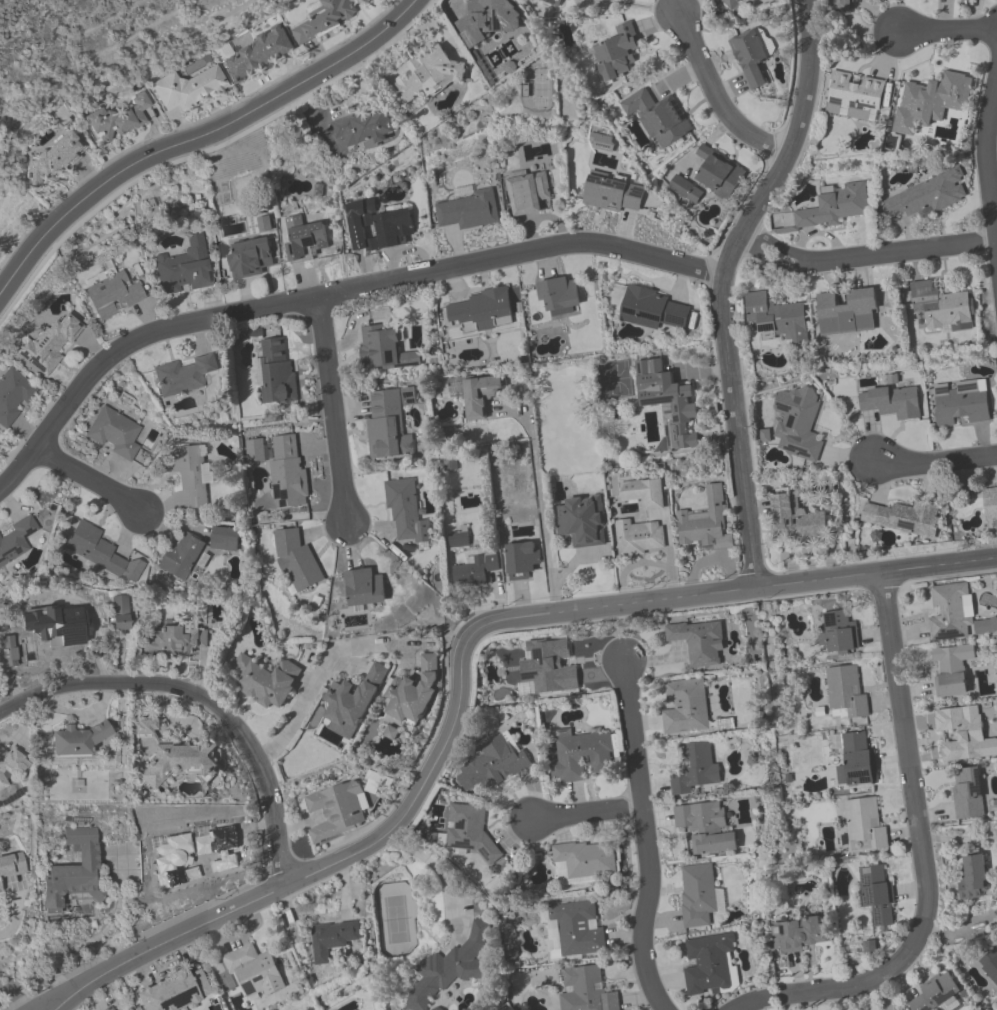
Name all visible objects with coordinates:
building: (365, 1)
building: (552, 2)
building: (736, 4)
road: (647, 5)
building: (839, 6)
building: (324, 19)
building: (488, 20)
road: (992, 25)
road: (944, 31)
building: (258, 54)
building: (616, 55)
building: (750, 58)
building: (427, 76)
building: (190, 89)
building: (856, 93)
road: (717, 95)
building: (931, 101)
building: (658, 117)
building: (121, 120)
building: (364, 129)
road: (197, 137)
building: (602, 141)
building: (55, 158)
road: (985, 164)
building: (719, 173)
building: (684, 190)
building: (528, 192)
building: (613, 193)
building: (927, 196)
building: (830, 207)
building: (469, 209)
building: (394, 229)
building: (304, 239)
road: (864, 255)
building: (251, 259)
building: (184, 272)
road: (721, 285)
building: (559, 294)
road: (330, 295)
building: (114, 297)
building: (486, 309)
building: (651, 309)
building: (940, 309)
building: (847, 312)
building: (777, 318)
building: (52, 344)
building: (384, 349)
building: (274, 371)
building: (184, 375)
building: (481, 395)
building: (14, 396)
building: (667, 400)
building: (890, 401)
building: (960, 404)
road: (330, 412)
road: (529, 422)
building: (796, 422)
building: (390, 424)
building: (115, 433)
road: (932, 461)
building: (281, 469)
building: (192, 474)
road: (89, 480)
building: (642, 493)
building: (990, 504)
building: (405, 511)
building: (903, 518)
building: (795, 519)
building: (582, 521)
building: (706, 522)
road: (543, 527)
building: (638, 539)
building: (17, 540)
building: (458, 540)
building: (94, 549)
road: (710, 556)
building: (180, 558)
building: (521, 560)
building: (296, 561)
road: (643, 563)
building: (475, 570)
building: (364, 588)
building: (118, 612)
building: (955, 616)
building: (55, 624)
building: (839, 632)
building: (175, 638)
building: (698, 642)
road: (369, 645)
building: (6, 651)
road: (461, 659)
building: (951, 671)
building: (562, 679)
building: (265, 680)
building: (845, 691)
building: (413, 692)
road: (202, 700)
building: (350, 702)
road: (298, 705)
building: (685, 707)
building: (964, 734)
building: (78, 738)
building: (580, 756)
building: (175, 757)
building: (855, 759)
building: (11, 762)
building: (489, 766)
building: (695, 768)
building: (968, 795)
building: (335, 809)
road: (586, 811)
building: (864, 826)
building: (706, 828)
building: (469, 829)
road: (917, 829)
road: (644, 837)
building: (208, 845)
road: (429, 862)
building: (585, 863)
building: (11, 864)
building: (74, 871)
building: (974, 879)
building: (0, 887)
building: (876, 892)
building: (699, 895)
road: (12, 919)
building: (573, 929)
road: (98, 934)
building: (800, 935)
building: (332, 940)
building: (709, 964)
building: (990, 965)
building: (450, 967)
building: (254, 972)
building: (586, 990)
building: (937, 993)
road: (15, 994)
building: (160, 997)
road: (767, 999)
road: (747, 1004)
road: (49, 1005)
road: (58, 1005)
building: (111, 1009)

